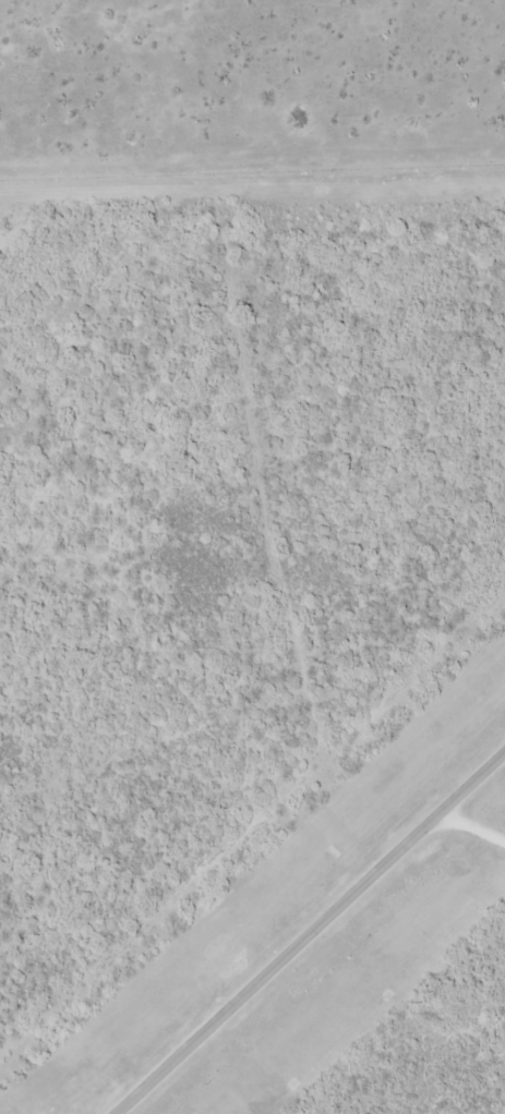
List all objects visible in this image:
road: (466, 830)
road: (314, 932)

